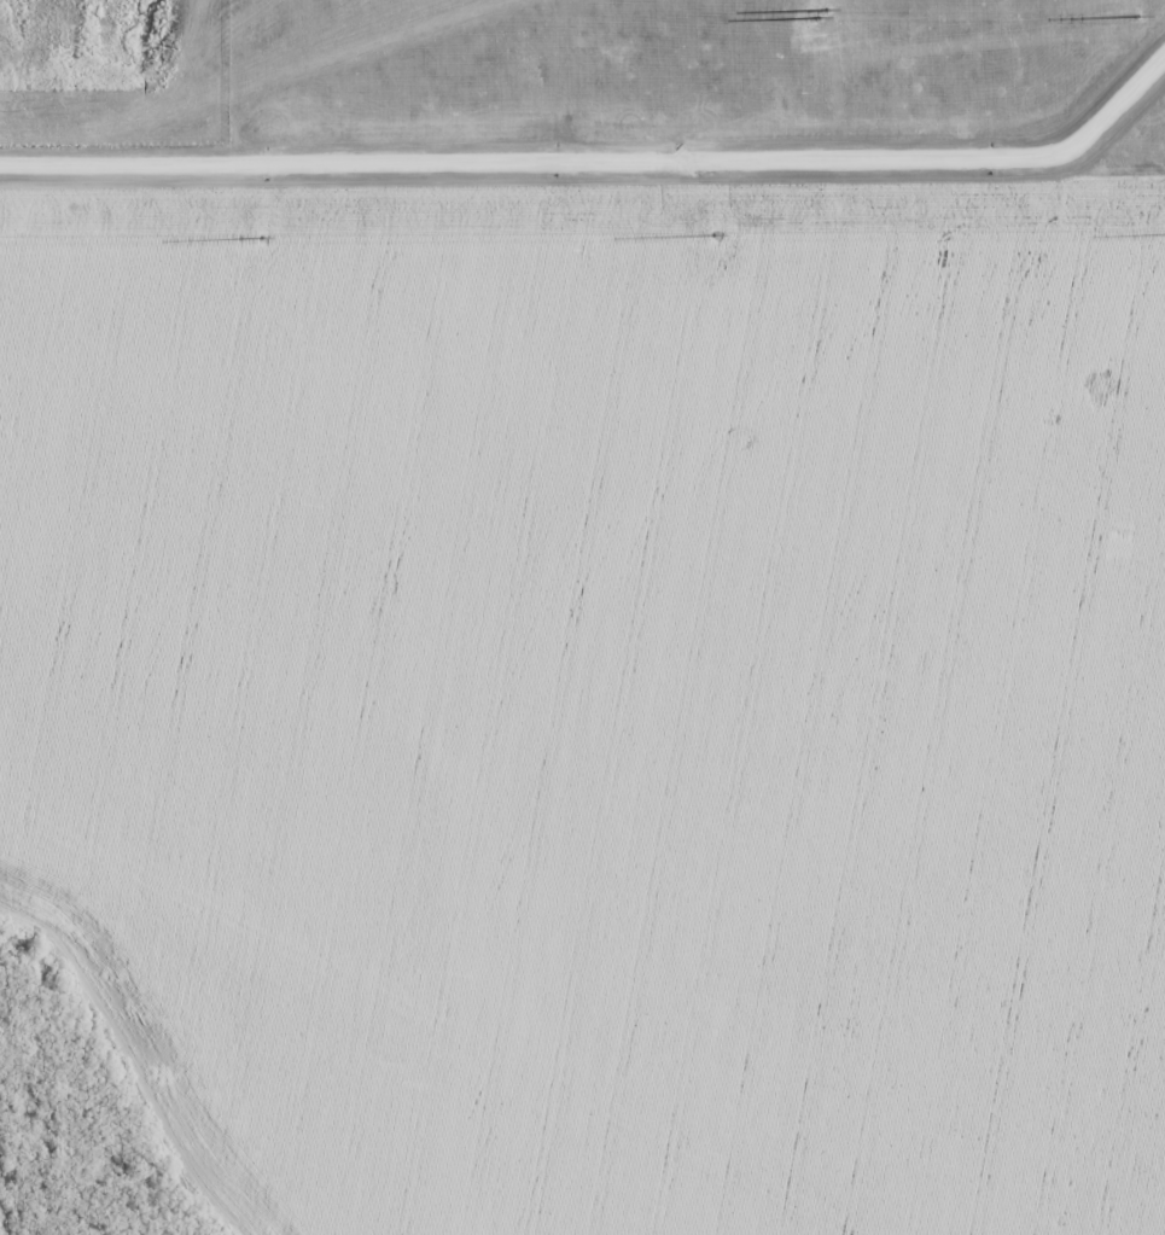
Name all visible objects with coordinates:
crop: (595, 604)

